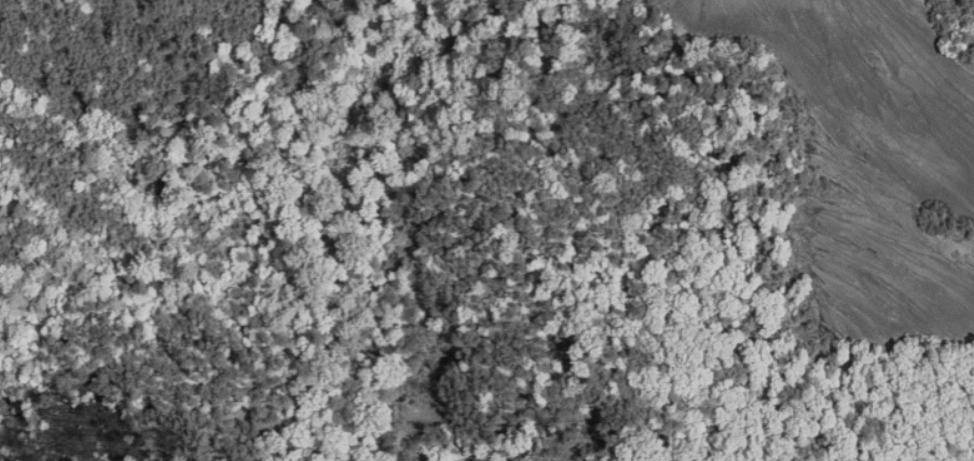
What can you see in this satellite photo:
road: (545, 47)
road: (630, 75)
road: (557, 282)

